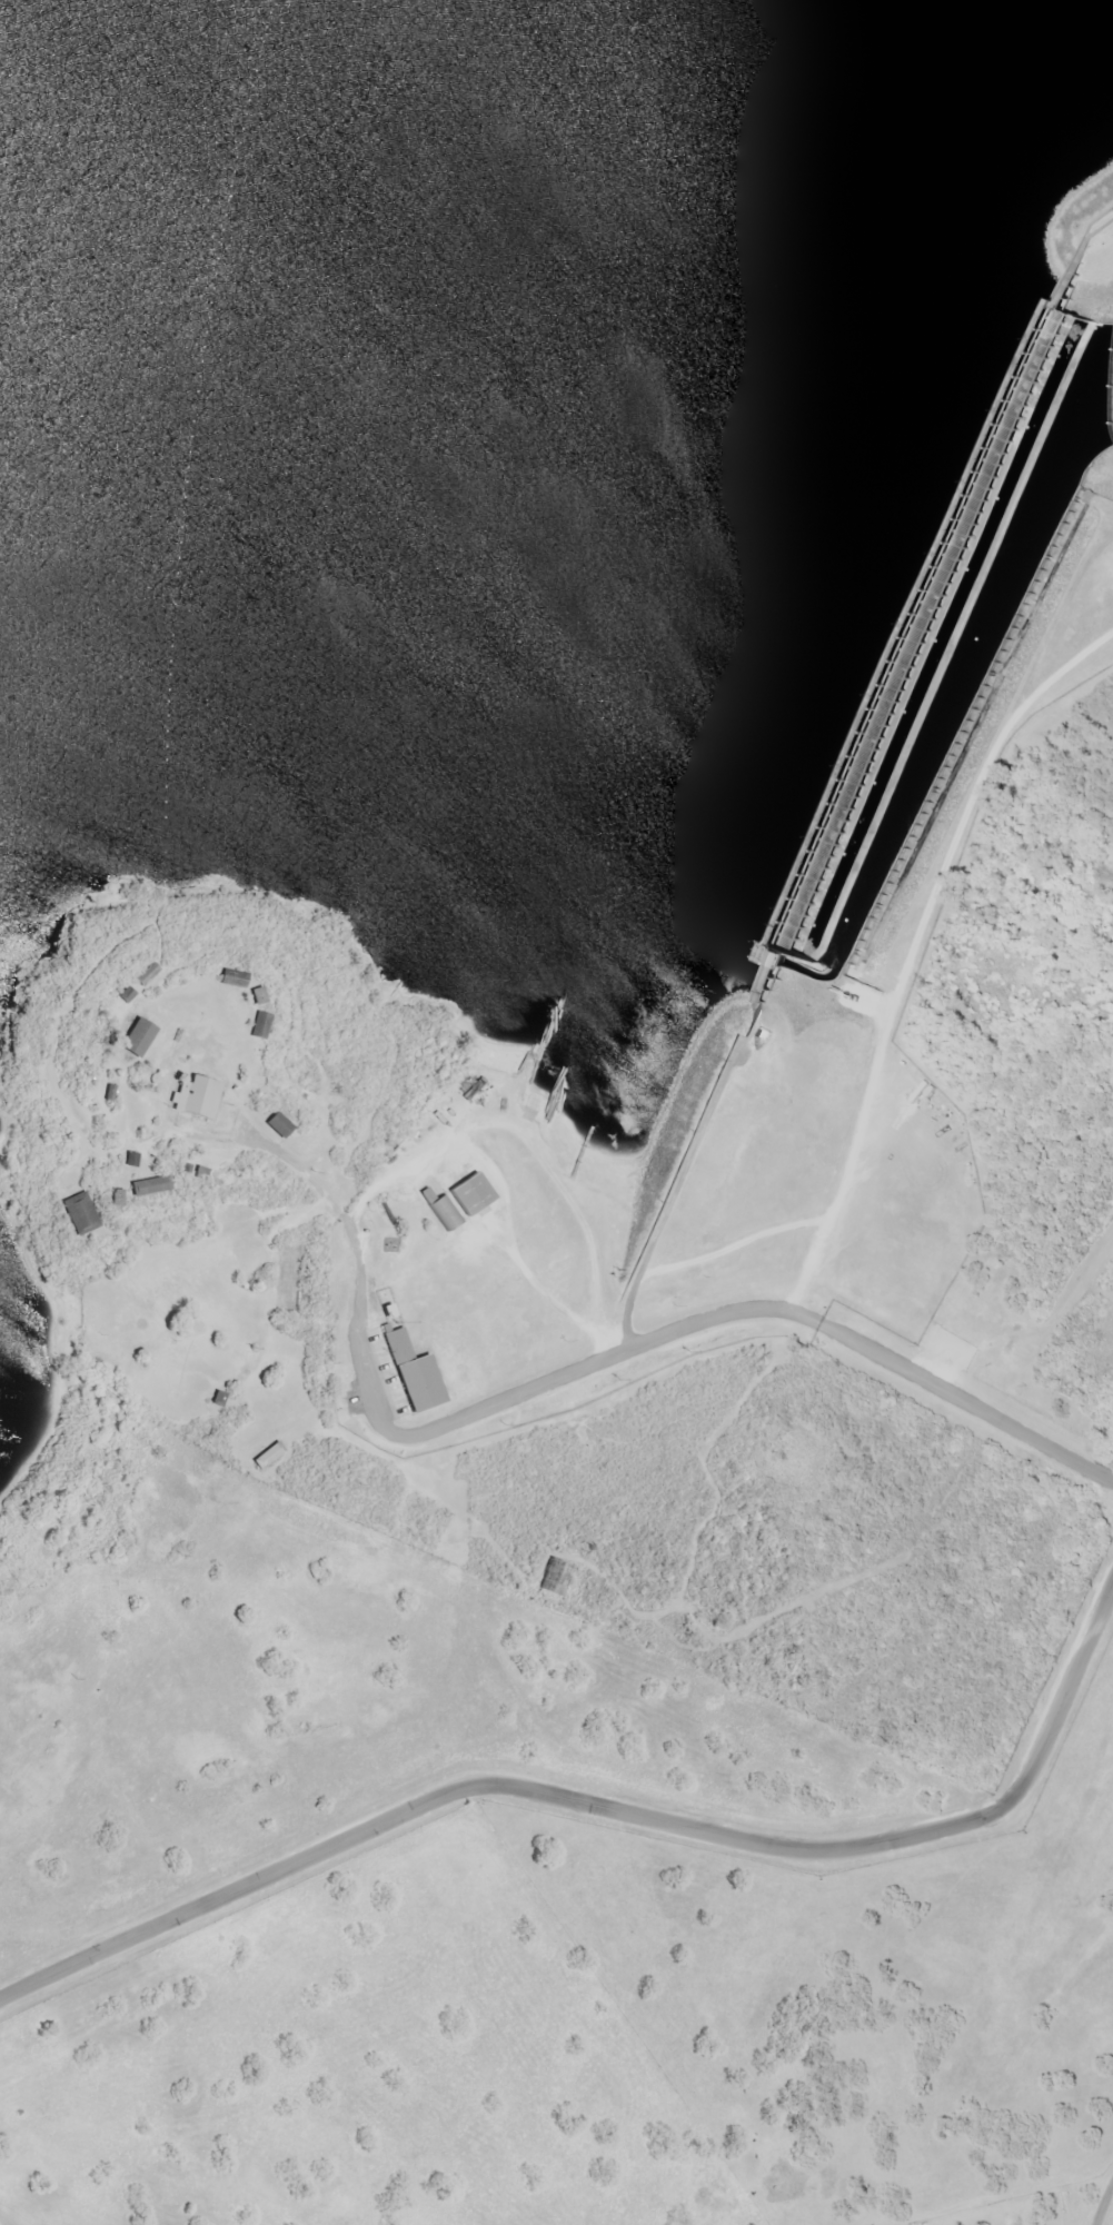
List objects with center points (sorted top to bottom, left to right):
building: (288, 262)
river: (1111, 396)
dam: (900, 642)
river: (346, 684)
river: (951, 693)
building: (197, 727)
river: (769, 958)
building: (145, 974)
building: (231, 980)
building: (258, 1026)
building: (136, 1039)
building: (193, 1099)
building: (275, 1126)
building: (147, 1188)
building: (469, 1195)
building: (443, 1213)
building: (79, 1214)
road: (1046, 1324)
parking lot: (947, 1348)
road: (935, 1368)
building: (411, 1375)
road: (967, 1404)
road: (439, 1428)
building: (267, 1457)
road: (608, 1809)
road: (1101, 2202)

